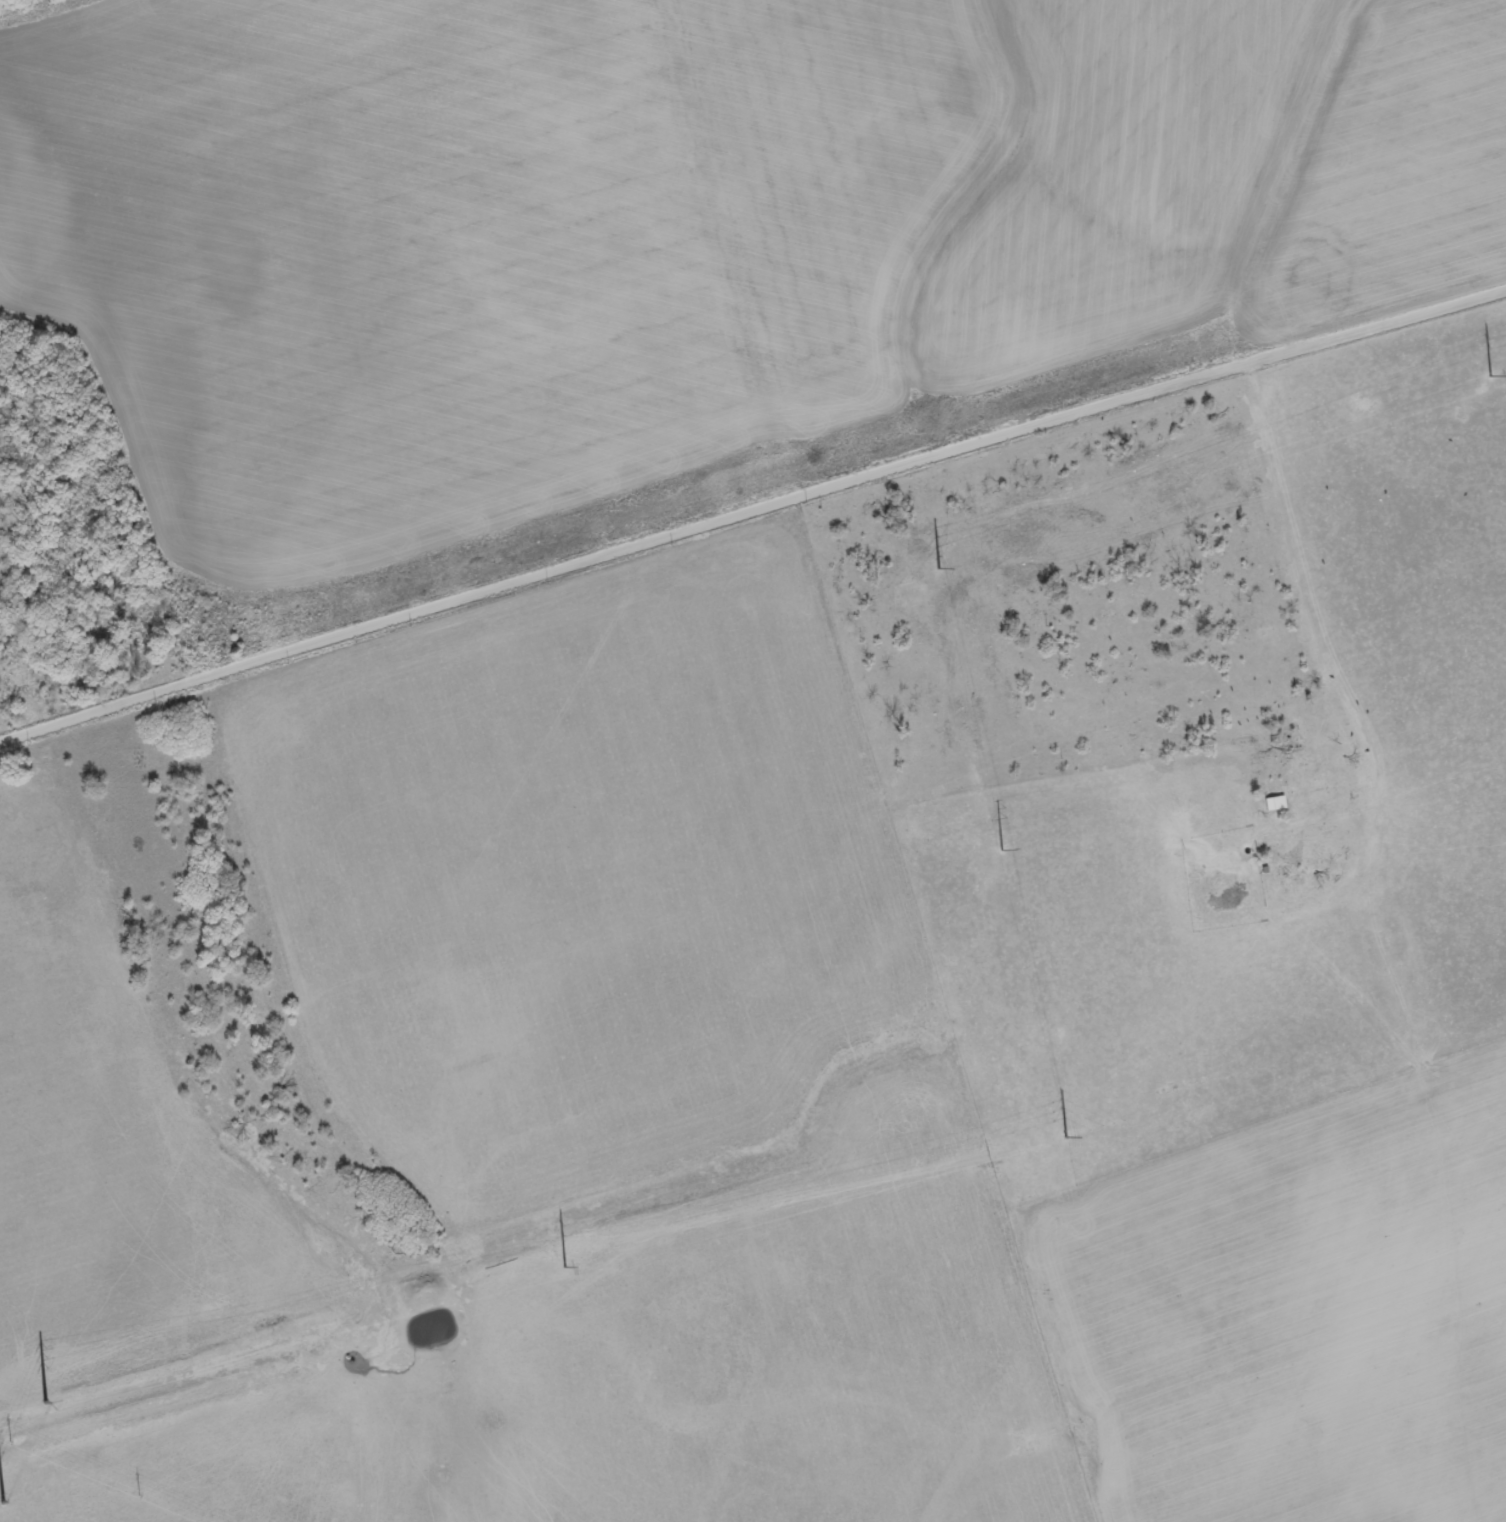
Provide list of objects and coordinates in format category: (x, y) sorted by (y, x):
road: (750, 507)
road: (1295, 555)
power tower: (940, 566)
building: (1277, 805)
power tower: (1066, 1131)
power tower: (46, 1398)
power tower: (1, 1494)

